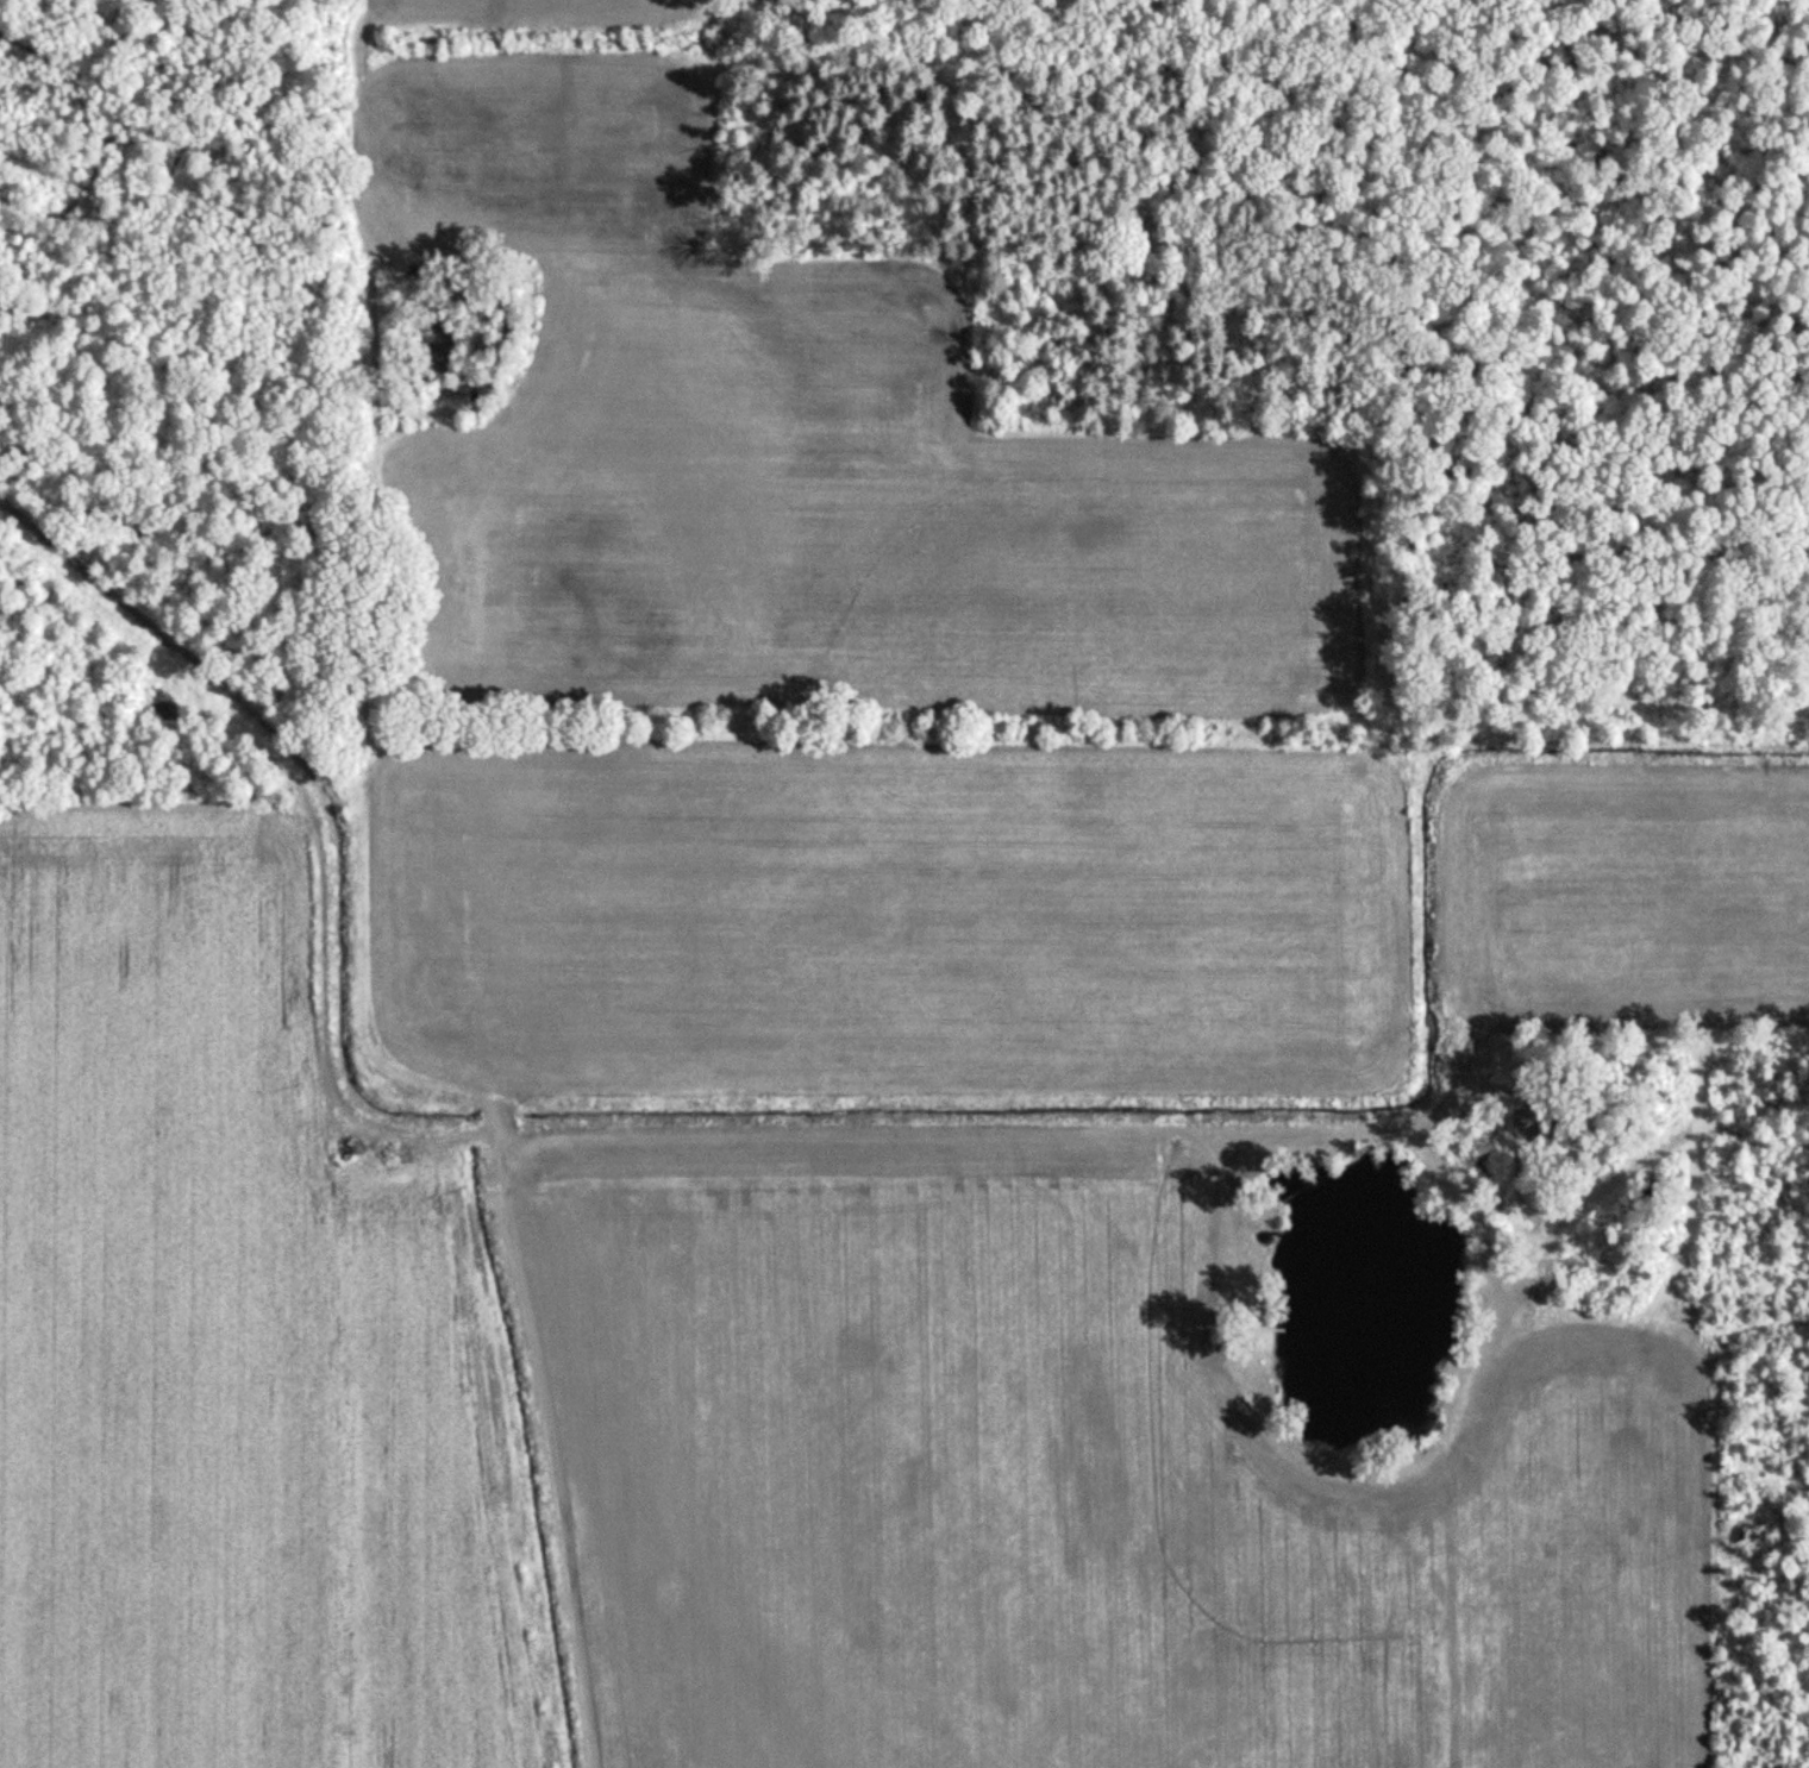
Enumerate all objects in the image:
road: (1434, 1486)

